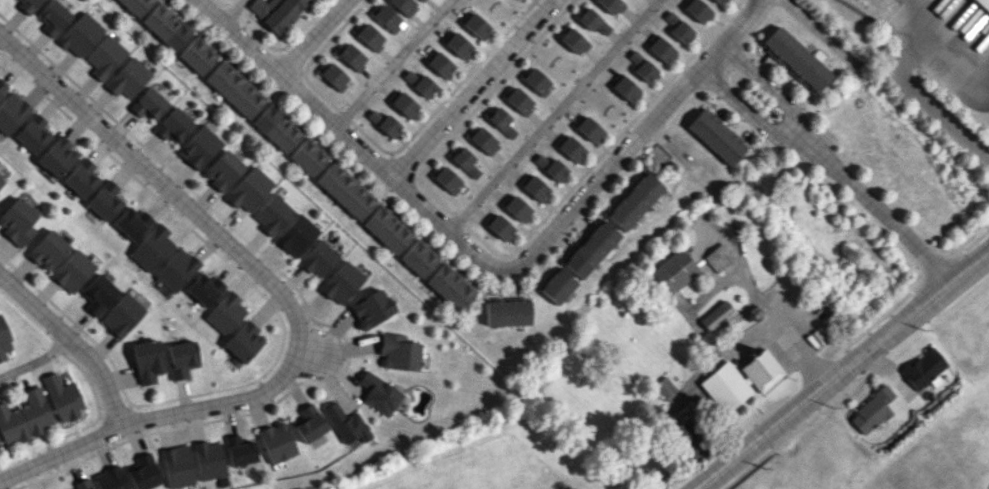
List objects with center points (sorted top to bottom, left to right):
building: (421, 0)
building: (517, 0)
building: (718, 1)
building: (983, 4)
building: (28, 5)
building: (135, 6)
building: (404, 6)
building: (611, 6)
building: (697, 10)
road: (233, 11)
building: (276, 12)
building: (53, 17)
building: (387, 18)
road: (918, 18)
building: (592, 21)
building: (166, 26)
building: (476, 26)
building: (676, 26)
road: (817, 30)
building: (80, 34)
building: (369, 37)
road: (314, 38)
building: (574, 41)
building: (456, 44)
building: (661, 49)
building: (197, 55)
building: (104, 57)
building: (351, 57)
building: (795, 59)
road: (393, 63)
building: (438, 63)
building: (641, 67)
road: (897, 70)
building: (333, 76)
building: (128, 78)
building: (536, 81)
building: (419, 82)
road: (763, 83)
building: (2, 87)
road: (470, 88)
building: (234, 89)
building: (625, 89)
building: (519, 101)
building: (148, 104)
building: (404, 105)
road: (744, 106)
building: (12, 112)
road: (554, 114)
building: (501, 122)
building: (384, 123)
building: (173, 126)
building: (277, 127)
building: (588, 129)
building: (33, 134)
building: (716, 136)
building: (482, 140)
building: (199, 147)
building: (570, 148)
building: (308, 156)
building: (57, 157)
building: (464, 162)
building: (550, 167)
building: (222, 170)
building: (81, 179)
building: (1, 180)
building: (447, 180)
building: (535, 188)
building: (249, 189)
building: (345, 190)
building: (105, 201)
building: (634, 201)
road: (873, 207)
building: (517, 208)
building: (271, 213)
building: (17, 222)
building: (131, 222)
building: (500, 227)
building: (387, 229)
building: (296, 235)
building: (151, 247)
building: (591, 249)
building: (48, 250)
building: (718, 257)
building: (318, 258)
building: (418, 258)
road: (487, 261)
building: (176, 270)
building: (73, 271)
building: (673, 271)
building: (342, 283)
building: (557, 286)
building: (450, 287)
building: (204, 288)
building: (98, 294)
road: (283, 298)
road: (760, 302)
building: (371, 309)
building: (507, 312)
building: (225, 313)
building: (122, 315)
building: (715, 315)
building: (4, 341)
building: (244, 341)
road: (72, 344)
building: (398, 353)
road: (333, 358)
building: (181, 359)
building: (147, 361)
road: (35, 362)
road: (844, 368)
building: (924, 368)
building: (741, 381)
building: (379, 394)
building: (62, 397)
building: (871, 411)
building: (24, 417)
building: (309, 423)
building: (346, 424)
building: (687, 440)
building: (276, 442)
building: (239, 450)
building: (208, 460)
building: (177, 466)
building: (143, 473)
building: (110, 479)
building: (83, 484)

